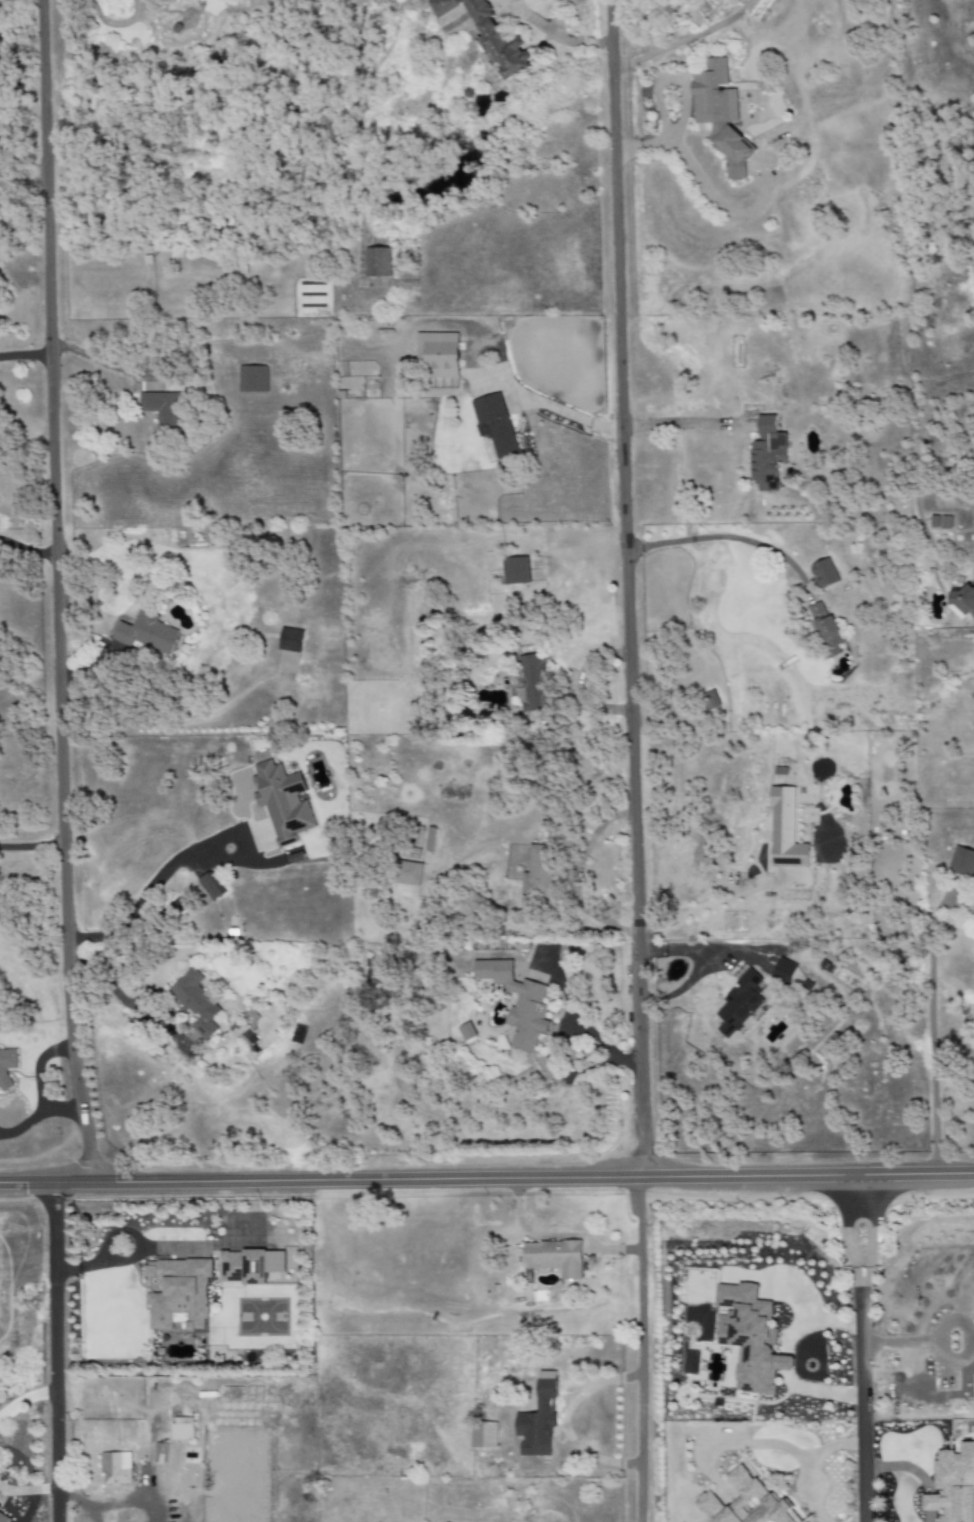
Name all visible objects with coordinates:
building: (489, 37)
road: (683, 99)
building: (720, 115)
road: (660, 116)
road: (702, 187)
building: (377, 262)
building: (438, 353)
road: (24, 355)
road: (95, 361)
road: (504, 375)
building: (253, 379)
building: (163, 411)
building: (495, 425)
road: (674, 426)
building: (767, 455)
building: (940, 522)
road: (728, 538)
building: (515, 571)
building: (824, 574)
road: (626, 588)
road: (55, 597)
building: (963, 603)
building: (825, 629)
building: (146, 633)
building: (290, 640)
road: (578, 686)
building: (709, 701)
building: (282, 802)
building: (785, 830)
building: (962, 862)
building: (408, 873)
building: (538, 873)
road: (148, 884)
building: (211, 887)
road: (702, 907)
building: (784, 970)
building: (196, 1002)
building: (517, 1003)
building: (738, 1004)
building: (466, 1032)
road: (555, 1041)
road: (930, 1059)
building: (6, 1067)
road: (37, 1088)
road: (23, 1127)
road: (487, 1179)
road: (114, 1233)
building: (554, 1258)
building: (249, 1266)
building: (178, 1294)
road: (948, 1322)
building: (749, 1338)
road: (53, 1346)
road: (868, 1348)
road: (643, 1350)
road: (25, 1399)
building: (539, 1417)
building: (182, 1429)
building: (483, 1435)
road: (812, 1461)
building: (114, 1465)
road: (919, 1476)
building: (953, 1485)
road: (28, 1490)
road: (70, 1498)
building: (745, 1502)
road: (124, 1503)
building: (0, 1507)
road: (86, 1515)
building: (3, 1518)
building: (806, 1521)

